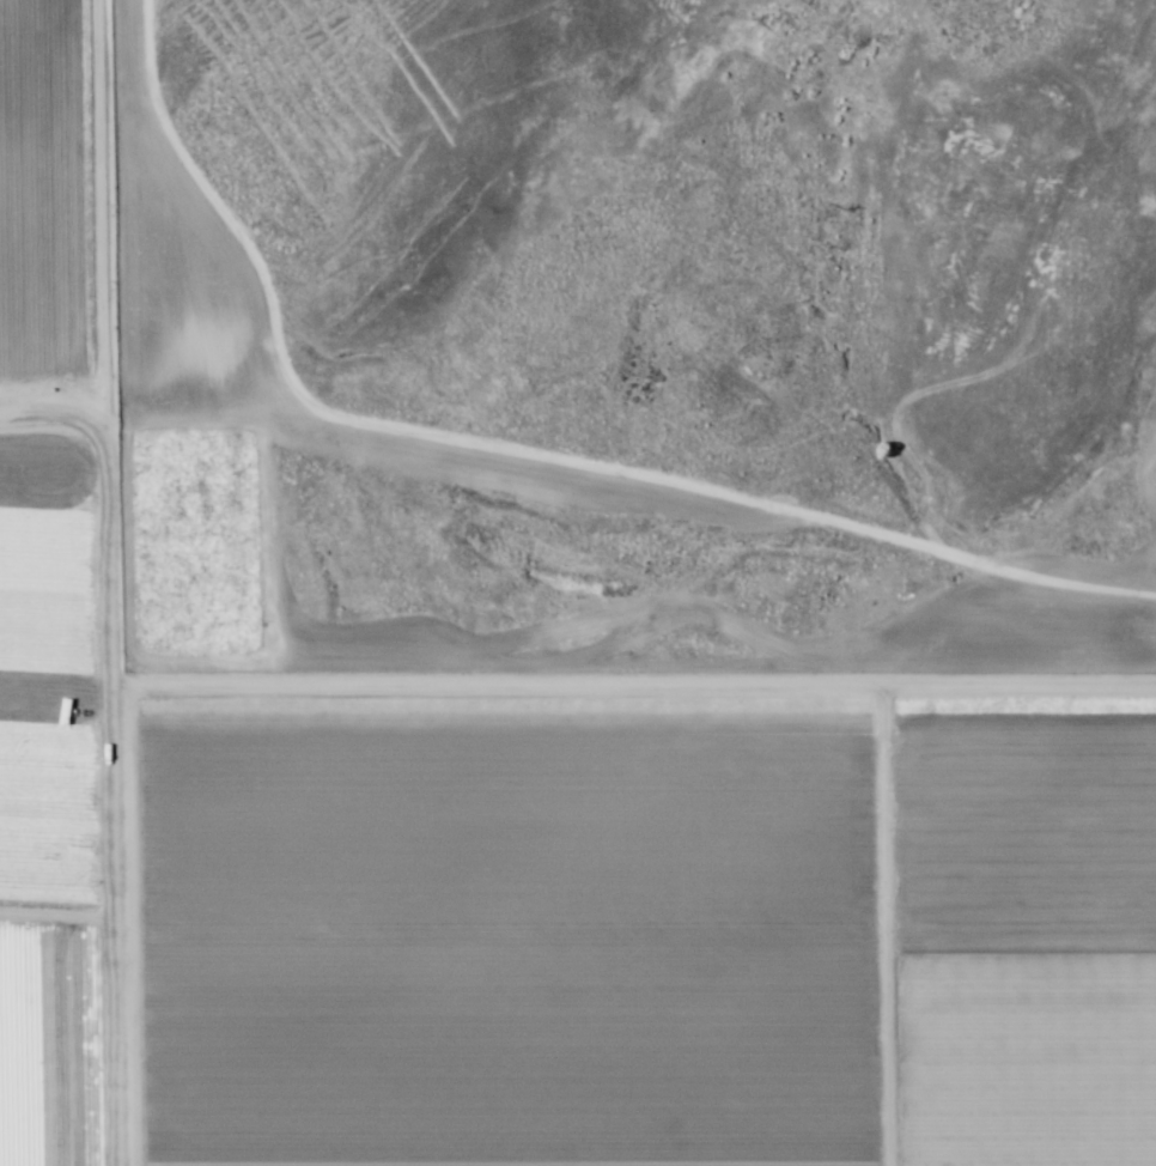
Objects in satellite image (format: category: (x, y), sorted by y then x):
road: (633, 692)
road: (110, 748)
crop: (524, 861)

